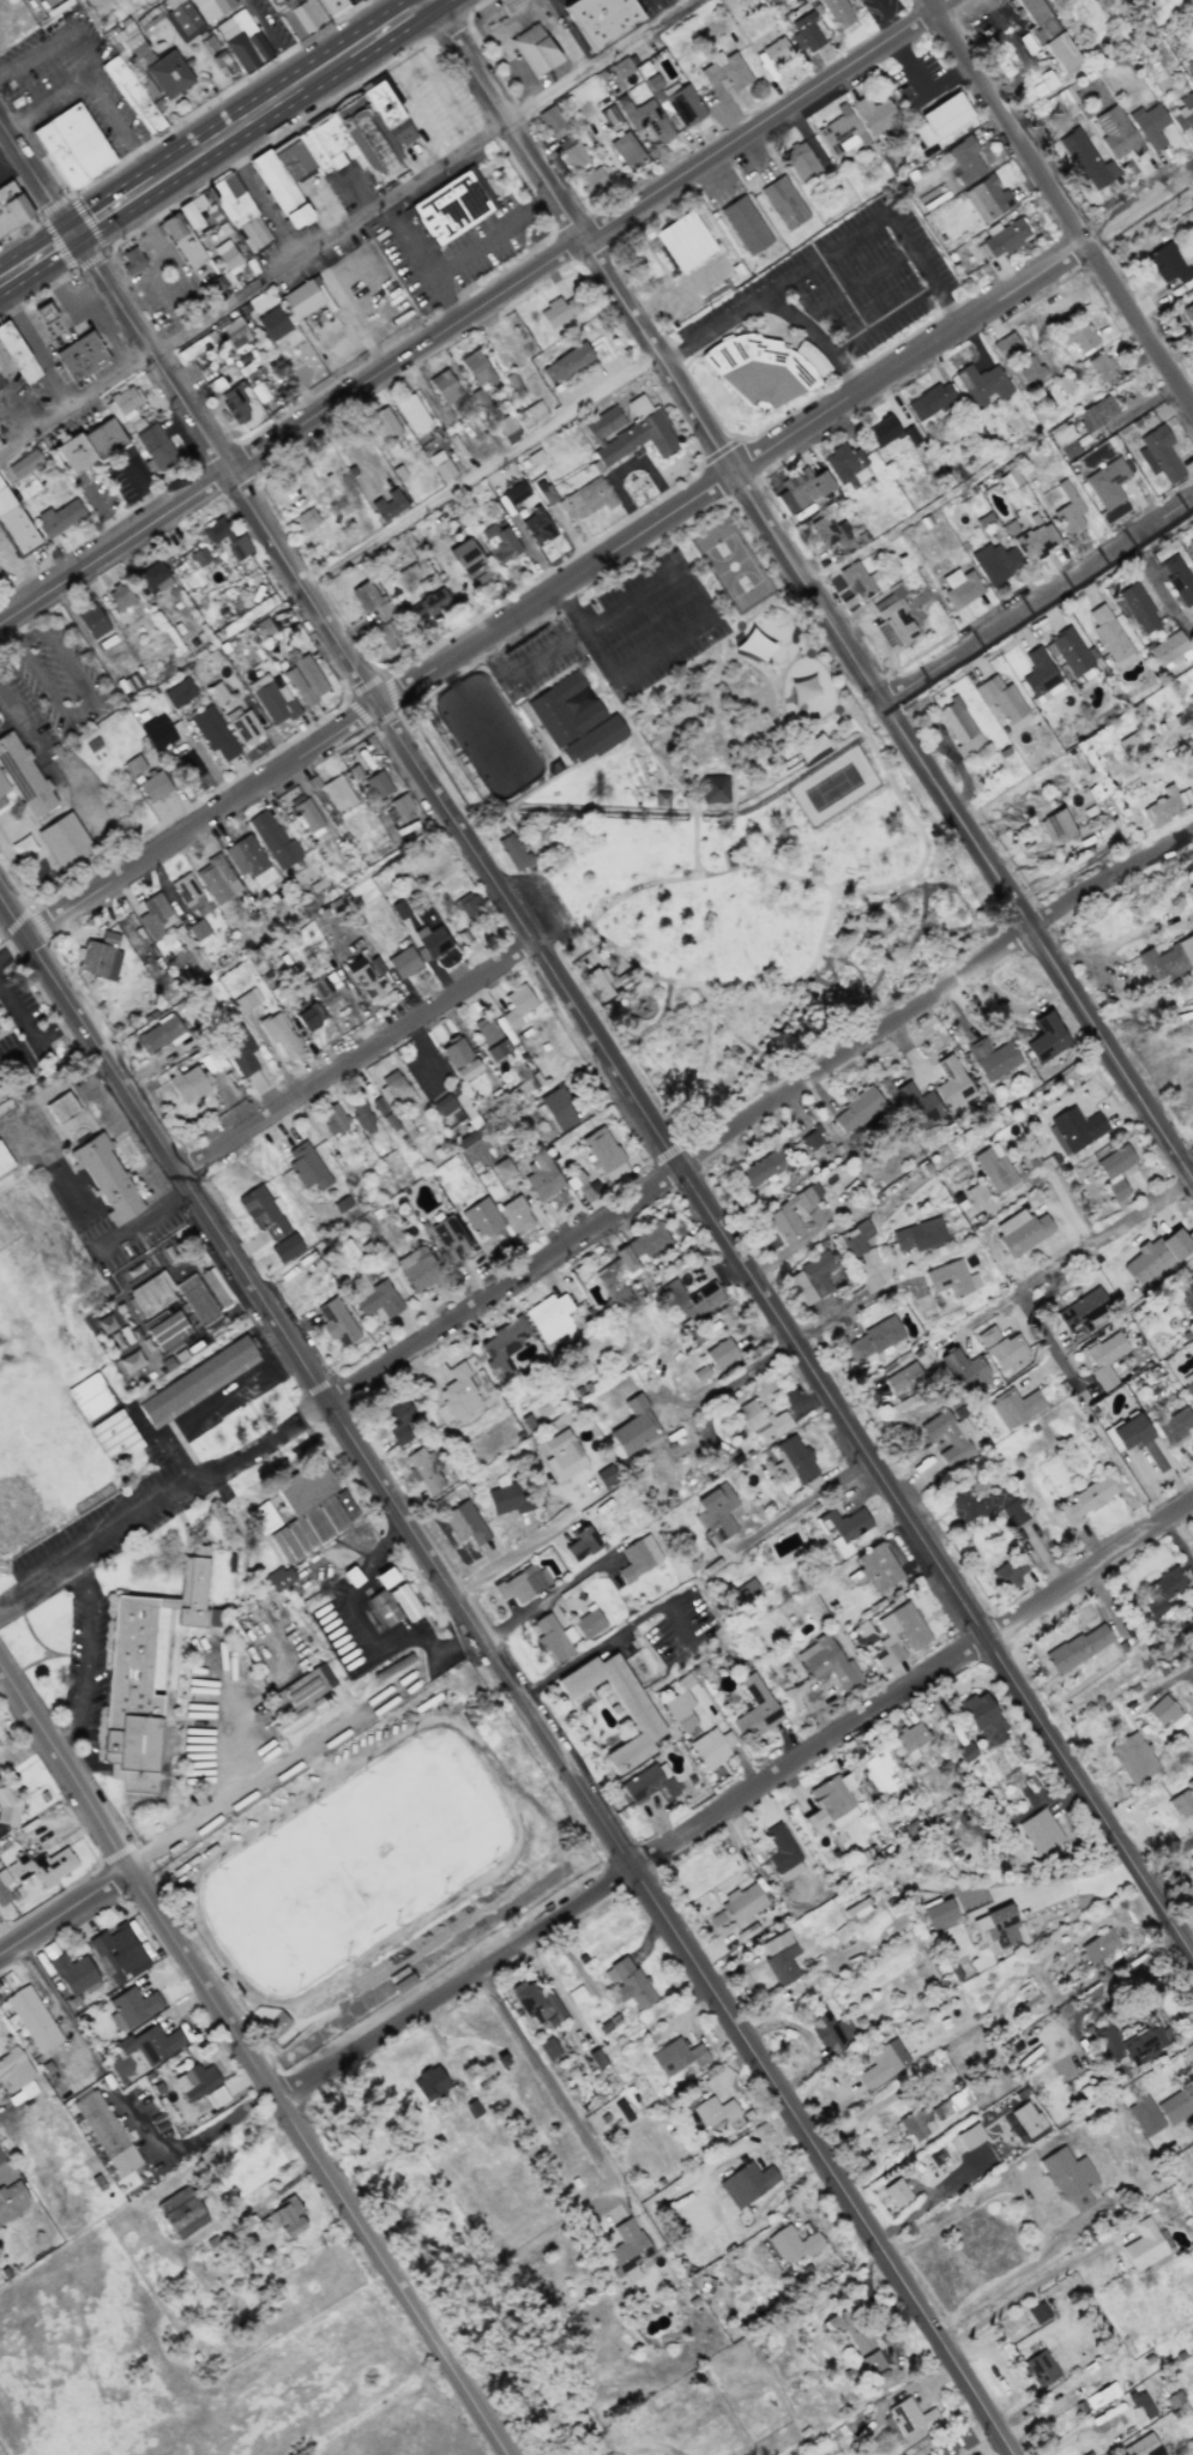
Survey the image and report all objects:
building: (270, 0)
road: (430, 1)
building: (330, 5)
building: (506, 7)
gas station: (506, 7)
road: (658, 7)
building: (211, 8)
parking lot: (881, 8)
building: (836, 13)
building: (150, 16)
road: (886, 16)
building: (301, 17)
building: (182, 18)
building: (601, 19)
building: (807, 30)
road: (385, 31)
road: (571, 31)
building: (1047, 34)
building: (241, 41)
road: (279, 41)
road: (498, 41)
building: (128, 42)
building: (776, 52)
building: (530, 54)
road: (403, 56)
building: (620, 67)
building: (725, 71)
road: (90, 74)
building: (168, 74)
road: (43, 94)
building: (676, 101)
building: (1062, 101)
building: (129, 102)
road: (475, 109)
building: (1182, 113)
building: (874, 114)
building: (646, 119)
building: (941, 119)
road: (1, 121)
road: (247, 121)
building: (552, 122)
building: (1149, 125)
building: (840, 132)
building: (1116, 133)
building: (332, 149)
road: (408, 149)
building: (70, 151)
building: (626, 151)
building: (571, 152)
building: (1084, 158)
building: (965, 160)
building: (800, 162)
road: (13, 163)
building: (596, 179)
road: (354, 188)
building: (987, 198)
road: (530, 200)
road: (1062, 201)
building: (783, 203)
building: (450, 207)
road: (115, 209)
building: (12, 210)
building: (192, 212)
building: (240, 212)
building: (745, 224)
road: (343, 229)
traffic signals: (78, 234)
building: (1001, 237)
building: (181, 240)
building: (683, 241)
road: (904, 243)
road: (456, 248)
building: (225, 254)
road: (38, 259)
building: (132, 260)
road: (421, 263)
building: (1169, 264)
road: (175, 266)
parking lot: (845, 283)
road: (855, 287)
building: (301, 299)
road: (770, 303)
road: (70, 309)
building: (560, 311)
building: (1188, 312)
road: (474, 313)
building: (42, 318)
gas station: (42, 318)
building: (272, 323)
building: (233, 335)
building: (1078, 339)
building: (1005, 344)
building: (195, 345)
road: (36, 347)
building: (14, 357)
building: (79, 362)
building: (566, 362)
building: (1099, 367)
building: (1028, 369)
building: (765, 371)
building: (478, 378)
building: (982, 384)
building: (513, 385)
building: (444, 386)
building: (930, 399)
building: (125, 402)
building: (235, 404)
road: (20, 408)
building: (1096, 413)
building: (411, 414)
building: (531, 414)
building: (385, 425)
building: (507, 428)
building: (881, 431)
building: (629, 432)
building: (910, 435)
building: (1065, 441)
building: (89, 444)
building: (155, 449)
building: (1158, 453)
building: (24, 464)
building: (440, 465)
building: (844, 465)
road: (481, 470)
building: (1010, 480)
building: (1107, 482)
building: (801, 488)
building: (514, 493)
building: (585, 499)
building: (387, 505)
building: (1068, 510)
building: (58, 517)
building: (303, 521)
building: (14, 525)
building: (537, 526)
building: (832, 534)
building: (225, 538)
building: (1036, 541)
building: (499, 542)
road: (609, 555)
building: (199, 556)
building: (468, 560)
building: (995, 562)
building: (1192, 562)
park: (734, 564)
road: (20, 566)
building: (153, 577)
building: (1177, 578)
building: (858, 582)
road: (811, 586)
building: (960, 588)
building: (120, 596)
building: (369, 600)
road: (1040, 602)
building: (428, 606)
building: (1138, 607)
building: (91, 620)
building: (892, 620)
parking lot: (649, 625)
building: (263, 627)
building: (388, 634)
building: (1110, 637)
road: (693, 639)
building: (1168, 649)
building: (1068, 651)
building: (1040, 676)
building: (305, 679)
building: (177, 692)
building: (216, 692)
building: (1002, 700)
building: (275, 703)
road: (82, 706)
building: (562, 709)
building: (243, 726)
building: (959, 727)
building: (159, 732)
road: (635, 732)
building: (213, 733)
building: (1128, 745)
building: (811, 748)
road: (595, 758)
building: (133, 765)
building: (1187, 766)
building: (188, 768)
building: (22, 775)
road: (62, 777)
building: (376, 784)
building: (153, 787)
park: (833, 787)
building: (713, 788)
building: (337, 793)
road: (652, 799)
building: (661, 799)
building: (400, 804)
building: (1164, 805)
building: (306, 816)
park: (707, 818)
building: (1056, 826)
building: (64, 841)
building: (273, 841)
road: (924, 844)
building: (23, 846)
building: (514, 852)
building: (248, 859)
building: (217, 879)
building: (468, 905)
building: (398, 909)
building: (155, 915)
road: (562, 920)
building: (430, 941)
road: (12, 946)
building: (100, 957)
building: (403, 962)
building: (1161, 962)
building: (374, 965)
building: (367, 981)
building: (598, 986)
road: (731, 986)
building: (327, 991)
building: (246, 1000)
building: (517, 1005)
building: (486, 1030)
building: (158, 1034)
road: (596, 1034)
road: (30, 1035)
building: (279, 1035)
building: (1046, 1039)
building: (496, 1049)
building: (239, 1051)
road: (357, 1057)
building: (458, 1058)
building: (992, 1058)
building: (186, 1083)
building: (952, 1083)
building: (397, 1091)
building: (500, 1101)
building: (378, 1105)
building: (444, 1105)
building: (917, 1106)
building: (60, 1107)
building: (558, 1108)
building: (856, 1111)
road: (755, 1112)
building: (362, 1117)
building: (332, 1119)
building: (390, 1121)
building: (1074, 1129)
building: (812, 1138)
road: (163, 1149)
building: (603, 1154)
road: (1187, 1155)
building: (4, 1161)
building: (306, 1167)
building: (502, 1167)
building: (763, 1168)
building: (993, 1168)
building: (1114, 1169)
building: (541, 1174)
building: (107, 1179)
building: (579, 1185)
building: (975, 1192)
building: (263, 1211)
building: (516, 1215)
building: (789, 1215)
building: (481, 1219)
building: (1020, 1230)
building: (918, 1234)
building: (450, 1238)
building: (856, 1238)
building: (646, 1240)
building: (285, 1247)
road: (1079, 1256)
building: (1155, 1257)
building: (418, 1269)
building: (818, 1272)
building: (617, 1276)
building: (951, 1278)
building: (801, 1288)
building: (151, 1293)
building: (1186, 1295)
building: (372, 1296)
building: (195, 1299)
building: (691, 1299)
building: (1081, 1310)
road: (832, 1312)
building: (552, 1319)
building: (337, 1323)
building: (168, 1330)
road: (1043, 1331)
building: (872, 1341)
building: (501, 1348)
building: (1001, 1348)
building: (721, 1354)
building: (1104, 1358)
building: (963, 1370)
building: (700, 1373)
road: (736, 1378)
building: (904, 1378)
building: (195, 1379)
building: (1189, 1388)
building: (458, 1392)
building: (89, 1396)
building: (1014, 1407)
road: (188, 1412)
building: (398, 1420)
building: (761, 1420)
building: (1174, 1424)
building: (634, 1426)
park: (36, 1436)
building: (114, 1436)
building: (947, 1437)
building: (562, 1455)
building: (796, 1458)
building: (427, 1468)
building: (605, 1475)
park: (41, 1488)
building: (506, 1497)
building: (343, 1499)
building: (1086, 1499)
road: (805, 1500)
road: (162, 1504)
building: (309, 1504)
building: (982, 1504)
building: (716, 1512)
building: (261, 1517)
building: (464, 1523)
building: (843, 1529)
building: (580, 1542)
building: (283, 1545)
road: (1177, 1548)
road: (506, 1558)
building: (638, 1558)
building: (875, 1568)
building: (1007, 1574)
building: (279, 1578)
building: (522, 1583)
building: (747, 1590)
building: (1161, 1590)
road: (546, 1596)
building: (404, 1602)
building: (384, 1607)
building: (589, 1623)
road: (610, 1635)
building: (899, 1635)
building: (553, 1637)
road: (360, 1647)
building: (1077, 1648)
road: (82, 1656)
building: (829, 1662)
building: (144, 1674)
building: (300, 1698)
building: (755, 1709)
building: (680, 1710)
building: (1162, 1710)
building: (640, 1716)
building: (983, 1720)
building: (712, 1747)
building: (965, 1752)
road: (67, 1767)
building: (879, 1773)
road: (273, 1781)
building: (649, 1783)
building: (849, 1788)
road: (735, 1800)
building: (8, 1801)
building: (1182, 1801)
building: (829, 1805)
building: (1038, 1830)
building: (783, 1853)
building: (1191, 1859)
park: (356, 1863)
building: (35, 1870)
road: (1083, 1883)
building: (736, 1908)
building: (855, 1908)
road: (66, 1912)
building: (939, 1914)
building: (998, 1926)
road: (670, 1927)
building: (1098, 1944)
building: (119, 1952)
building: (779, 1956)
building: (73, 1973)
building: (403, 1982)
building: (628, 1984)
building: (576, 1994)
building: (535, 2000)
building: (131, 2008)
building: (32, 2018)
building: (269, 2018)
building: (831, 2030)
building: (1132, 2042)
building: (151, 2044)
building: (548, 2048)
building: (676, 2057)
building: (882, 2063)
road: (546, 2074)
building: (16, 2076)
building: (428, 2082)
building: (200, 2084)
building: (952, 2104)
building: (1176, 2104)
road: (870, 2108)
road: (123, 2110)
building: (713, 2111)
building: (1144, 2116)
building: (1024, 2122)
building: (916, 2124)
building: (106, 2132)
building: (969, 2136)
road: (8, 2154)
road: (320, 2164)
building: (1067, 2177)
building: (746, 2183)
building: (896, 2192)
road: (928, 2200)
building: (12, 2201)
road: (1036, 2212)
building: (180, 2213)
building: (283, 2218)
building: (793, 2244)
building: (1143, 2244)
building: (627, 2250)
road: (1012, 2300)
building: (1037, 2312)
building: (850, 2328)
building: (873, 2365)
building: (1040, 2367)
building: (1139, 2406)
road: (1049, 2408)
building: (908, 2420)
road: (632, 2442)
building: (1141, 2445)

